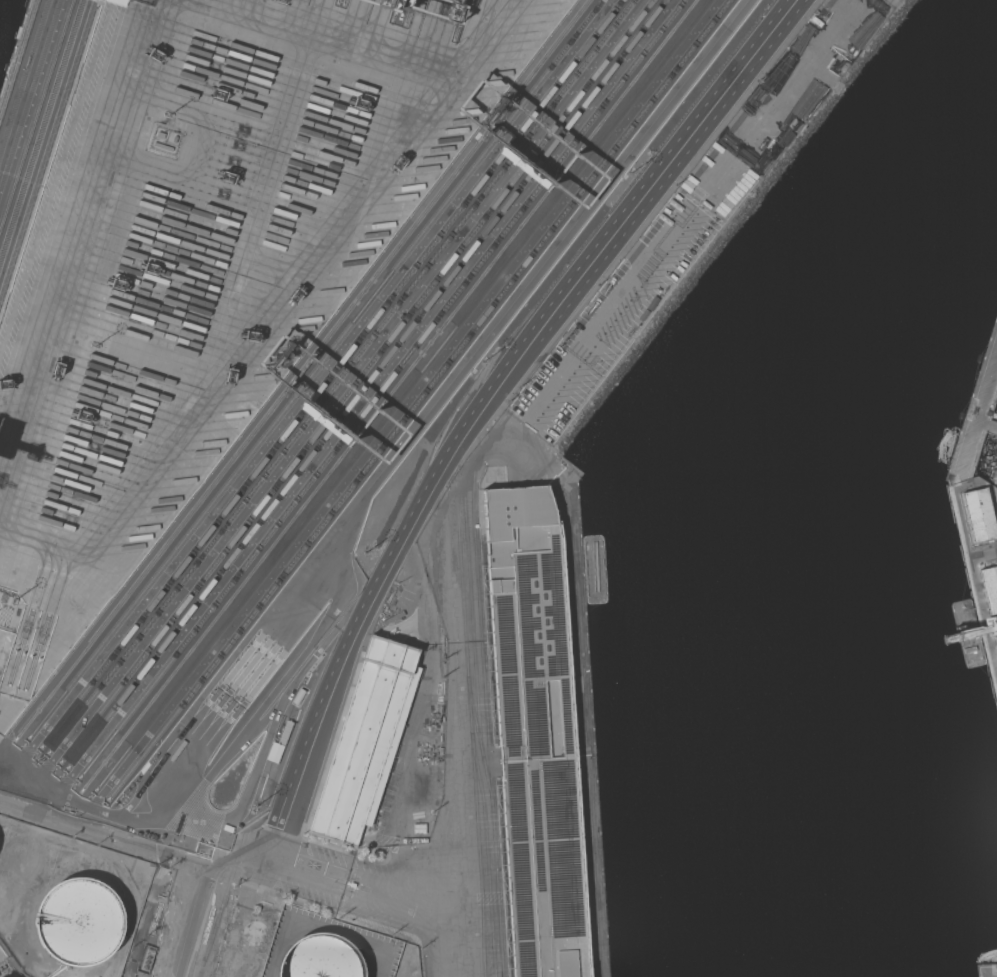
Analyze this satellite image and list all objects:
building: (98, 40)
building: (63, 165)
road: (650, 240)
building: (36, 251)
road: (611, 293)
railway: (314, 368)
railway: (330, 373)
railway: (339, 376)
railway: (355, 380)
railway: (365, 383)
railway: (381, 388)
railway: (402, 394)
railway: (417, 399)
road: (487, 402)
building: (988, 413)
pier: (977, 418)
building: (978, 445)
building: (979, 514)
building: (991, 595)
road: (427, 678)
road: (451, 721)
building: (537, 733)
building: (367, 742)
road: (135, 840)
road: (363, 887)
building: (87, 924)
storage tank: (87, 924)
building: (329, 959)
storage tank: (329, 959)
pier: (986, 970)

